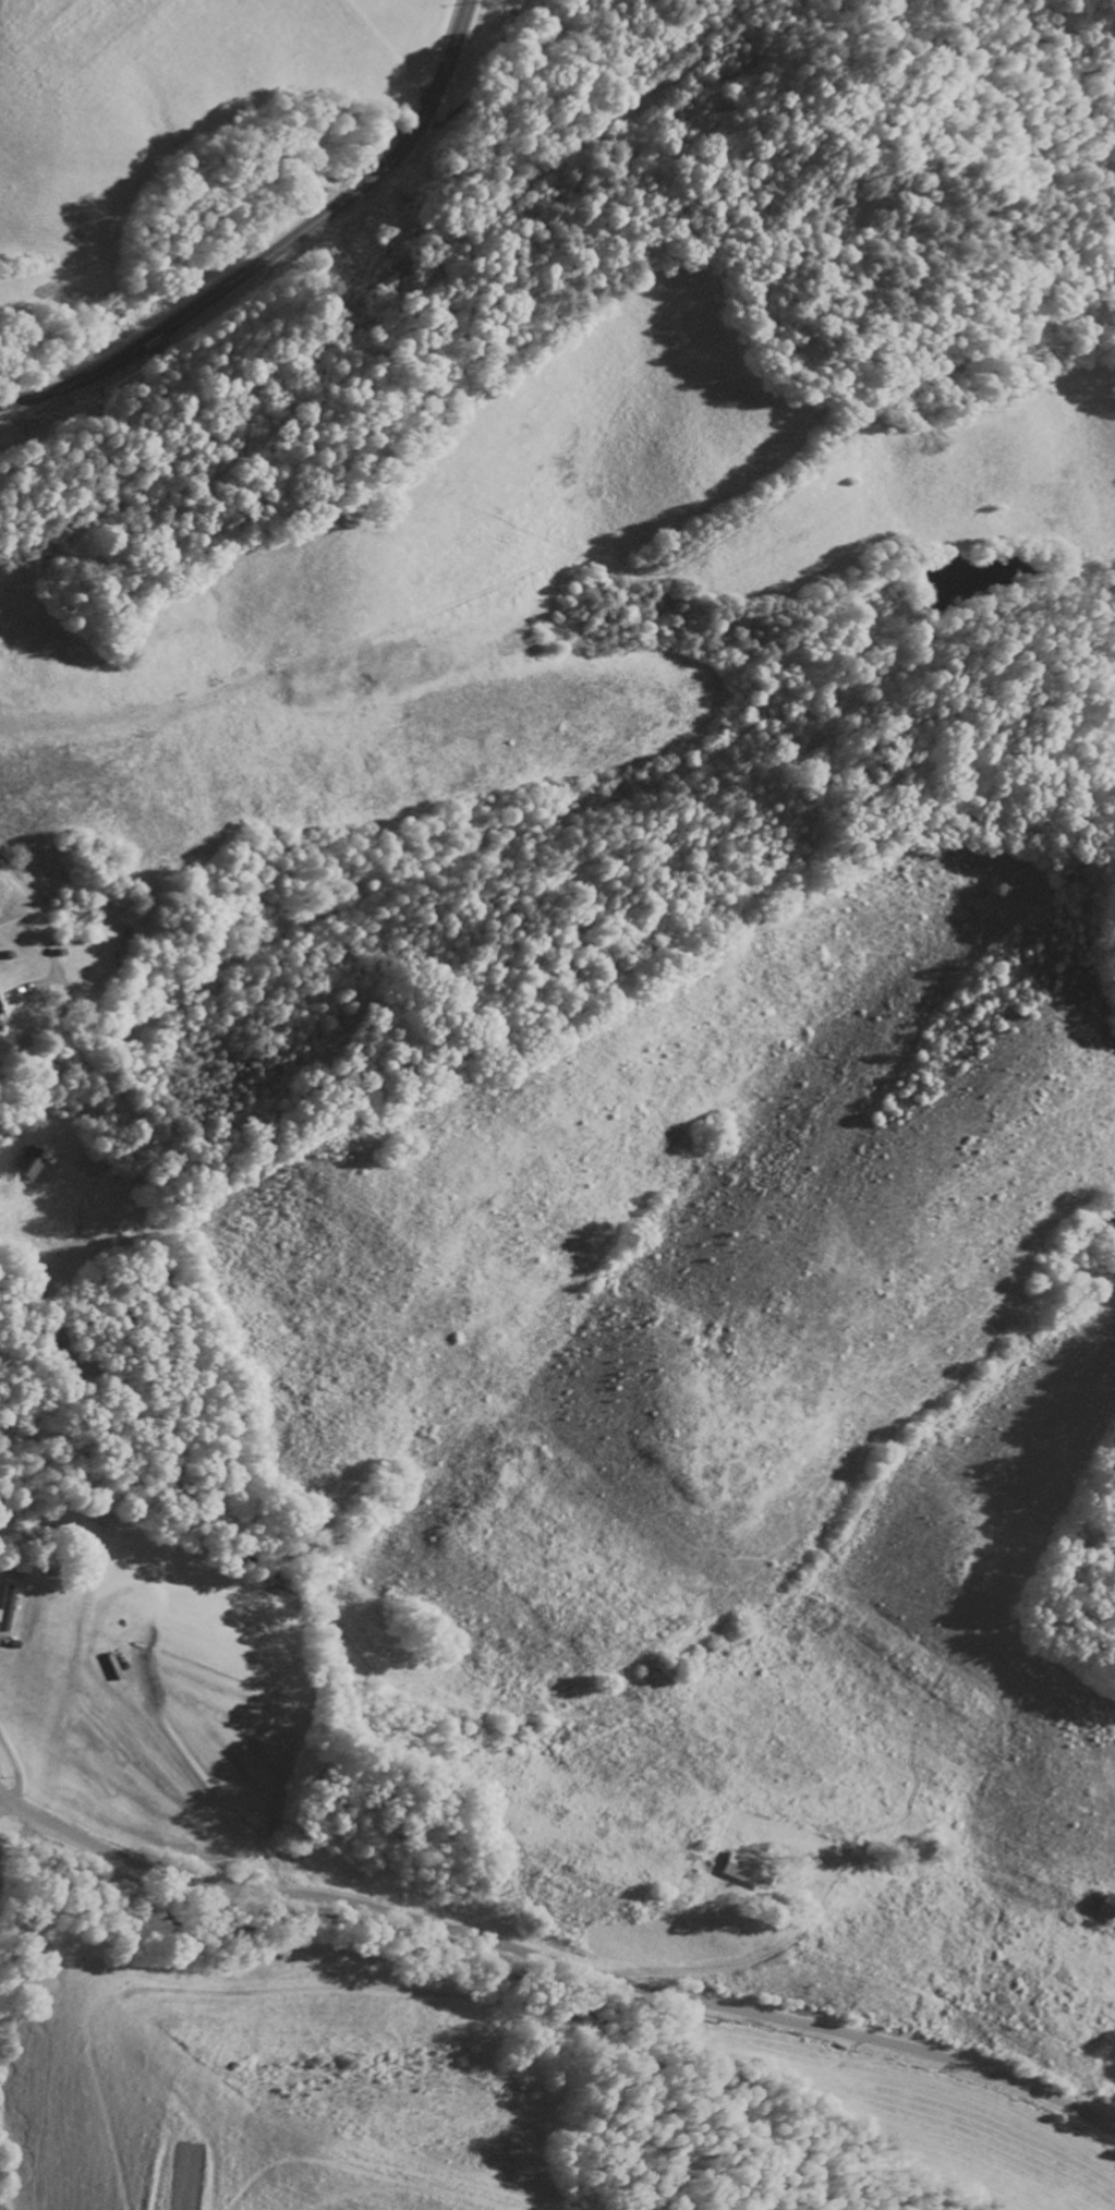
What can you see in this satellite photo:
road: (280, 249)
building: (0, 1025)
building: (7, 1606)
building: (747, 1869)
building: (1106, 1906)
road: (556, 1957)

